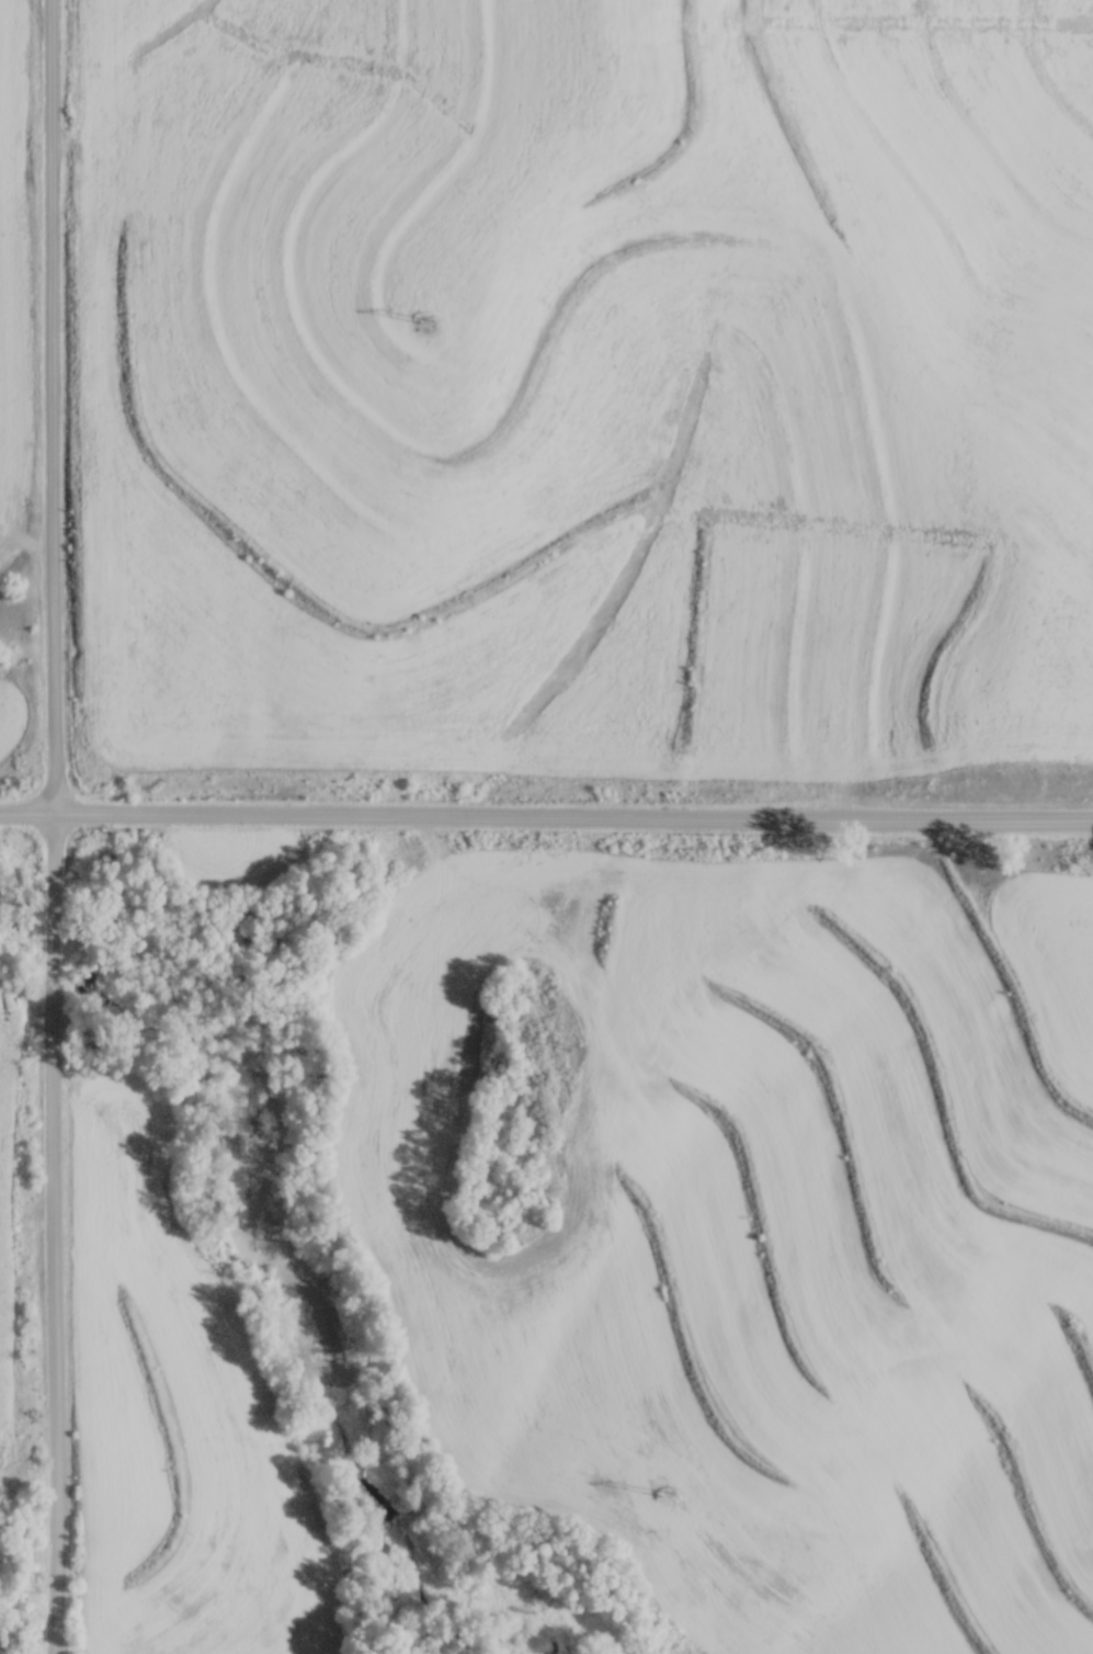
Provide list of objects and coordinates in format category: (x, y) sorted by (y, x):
power tower: (435, 309)
road: (546, 813)
road: (55, 827)
power tower: (579, 1046)
power tower: (673, 1494)

